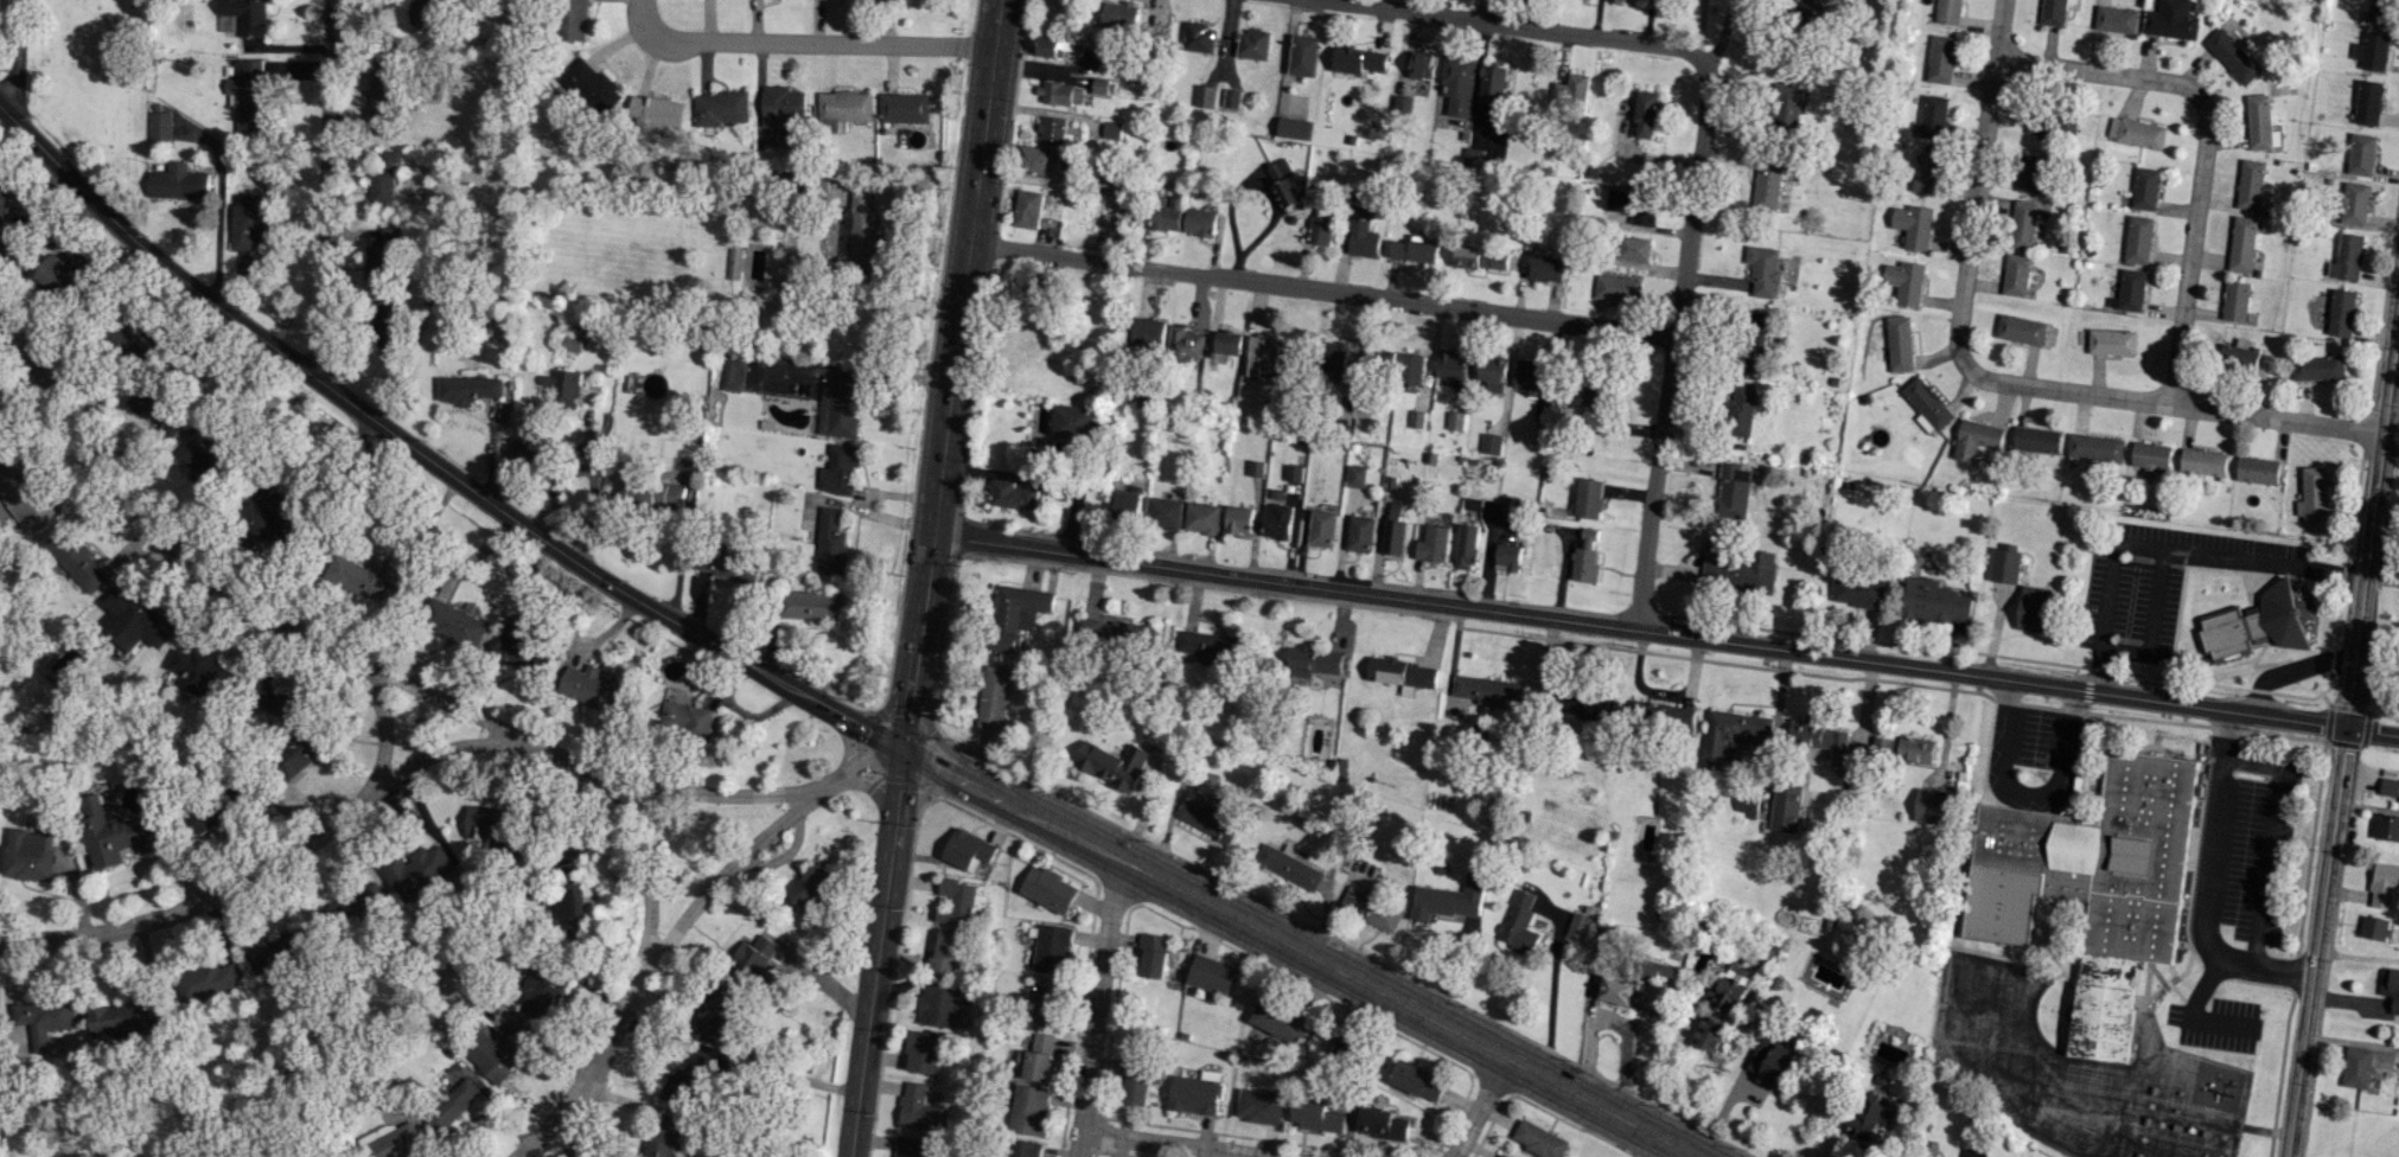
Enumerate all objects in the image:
building: (1618, 0)
building: (1946, 11)
building: (2381, 11)
building: (425, 12)
building: (2052, 12)
building: (1810, 13)
building: (1118, 14)
building: (245, 15)
building: (2114, 19)
building: (574, 20)
building: (2170, 24)
building: (1187, 36)
road: (804, 41)
building: (1253, 44)
building: (1053, 45)
building: (2373, 51)
building: (1302, 55)
building: (2232, 56)
road: (14, 57)
building: (1939, 58)
building: (1357, 59)
building: (1421, 65)
road: (2099, 72)
park: (81, 83)
building: (1459, 83)
building: (1492, 84)
building: (591, 87)
building: (1103, 87)
building: (381, 89)
building: (1572, 90)
building: (245, 92)
building: (1060, 92)
building: (1205, 96)
building: (1231, 100)
building: (2371, 102)
building: (1402, 104)
building: (844, 107)
building: (1786, 107)
building: (719, 108)
building: (904, 108)
building: (780, 111)
building: (653, 113)
building: (1646, 114)
building: (1932, 116)
building: (2049, 122)
building: (159, 126)
building: (1294, 128)
building: (1111, 129)
building: (1051, 130)
building: (2135, 133)
road: (1698, 148)
building: (2362, 154)
building: (1035, 160)
building: (1923, 173)
building: (2030, 173)
building: (382, 179)
building: (177, 183)
building: (1767, 184)
building: (2252, 184)
building: (1283, 185)
road: (1977, 185)
road: (323, 188)
building: (2145, 188)
building: (2, 197)
building: (2356, 203)
building: (1633, 205)
building: (1027, 209)
building: (1166, 213)
building: (249, 220)
building: (1188, 220)
building: (2023, 224)
building: (1912, 225)
building: (1321, 228)
building: (860, 236)
building: (1361, 238)
building: (2138, 238)
building: (2244, 243)
building: (7, 245)
building: (1635, 249)
building: (1414, 250)
road: (2191, 250)
building: (1467, 256)
building: (381, 257)
building: (2347, 257)
building: (1493, 260)
building: (753, 268)
building: (1546, 268)
building: (1762, 269)
building: (2016, 275)
building: (58, 276)
building: (1904, 282)
building: (1616, 288)
road: (1322, 289)
building: (2130, 290)
building: (2235, 301)
building: (2341, 312)
building: (388, 325)
building: (2022, 330)
building: (146, 331)
building: (1148, 332)
building: (1180, 341)
building: (1227, 341)
building: (2112, 341)
building: (1754, 343)
building: (1900, 343)
road: (955, 345)
building: (2244, 354)
building: (1262, 356)
building: (1335, 356)
building: (1379, 362)
building: (2318, 365)
building: (1453, 366)
building: (1415, 369)
building: (732, 372)
building: (1491, 372)
building: (1530, 376)
building: (468, 389)
building: (564, 389)
building: (1595, 398)
road: (2174, 403)
building: (1926, 405)
building: (838, 407)
building: (157, 409)
building: (1740, 410)
building: (1416, 418)
building: (1455, 420)
building: (1079, 423)
road: (40, 428)
road: (394, 434)
building: (1976, 440)
building: (2035, 440)
building: (1491, 443)
building: (2093, 448)
building: (528, 452)
building: (2149, 456)
building: (2201, 462)
building: (202, 465)
building: (1256, 468)
building: (838, 469)
building: (2257, 469)
building: (1355, 475)
building: (1294, 479)
building: (1390, 482)
building: (1733, 491)
building: (25, 494)
building: (655, 494)
building: (2312, 494)
building: (1010, 496)
building: (1588, 498)
road: (591, 501)
building: (1125, 505)
building: (1508, 505)
building: (1163, 513)
building: (1201, 518)
building: (1238, 519)
building: (1277, 522)
building: (1322, 528)
building: (1395, 530)
building: (1360, 533)
building: (1588, 537)
building: (830, 542)
building: (1433, 544)
building: (1466, 545)
road: (2167, 549)
building: (1508, 556)
building: (77, 558)
road: (681, 560)
building: (722, 563)
building: (1584, 564)
building: (1738, 565)
building: (2005, 565)
building: (1858, 592)
building: (1934, 601)
building: (816, 605)
building: (2033, 608)
building: (1016, 615)
building: (136, 621)
building: (454, 624)
road: (2149, 624)
building: (2254, 627)
building: (1122, 631)
road: (1665, 634)
building: (1185, 637)
building: (517, 650)
road: (350, 652)
building: (1314, 661)
road: (2288, 667)
building: (198, 672)
building: (1402, 673)
building: (591, 689)
building: (1486, 691)
building: (994, 697)
building: (1587, 705)
road: (886, 709)
building: (283, 711)
road: (844, 715)
building: (685, 718)
road: (907, 718)
road: (381, 720)
road: (1864, 721)
building: (1729, 733)
road: (2344, 733)
road: (881, 735)
building: (1818, 736)
road: (934, 739)
road: (844, 743)
traffic signals: (904, 747)
building: (1884, 747)
building: (1915, 749)
building: (300, 753)
road: (869, 762)
road: (937, 763)
building: (1115, 766)
road: (899, 781)
road: (824, 786)
building: (2388, 786)
road: (870, 788)
road: (927, 791)
road: (2024, 793)
building: (1747, 804)
building: (1786, 806)
building: (1935, 806)
building: (1185, 810)
building: (206, 817)
road: (2273, 820)
building: (491, 825)
building: (2387, 827)
building: (113, 832)
building: (968, 850)
building: (27, 855)
road: (275, 863)
building: (1287, 865)
building: (419, 871)
road: (644, 871)
road: (2208, 876)
building: (2384, 884)
building: (810, 886)
building: (1048, 889)
building: (572, 897)
building: (1449, 899)
building: (956, 902)
building: (353, 908)
building: (1371, 909)
building: (1519, 923)
building: (1578, 927)
building: (2374, 928)
building: (279, 948)
building: (1052, 948)
road: (653, 951)
building: (943, 954)
building: (1154, 955)
building: (1699, 960)
building: (753, 961)
road: (1332, 969)
road: (2288, 969)
building: (1659, 971)
building: (1211, 973)
building: (209, 980)
road: (870, 986)
building: (1733, 987)
building: (1618, 990)
building: (541, 992)
building: (2393, 992)
building: (1044, 1004)
building: (940, 1006)
road: (1098, 1009)
building: (712, 1015)
road: (1549, 1017)
building: (125, 1018)
building: (45, 1019)
building: (1278, 1021)
road: (1588, 1033)
building: (1710, 1033)
building: (1348, 1044)
building: (496, 1051)
building: (923, 1051)
road: (1622, 1055)
building: (1036, 1057)
building: (1769, 1062)
building: (2362, 1066)
building: (682, 1080)
building: (1416, 1081)
building: (1134, 1086)
building: (1181, 1093)
building: (454, 1102)
building: (1259, 1106)
road: (1480, 1107)
building: (920, 1108)
building: (1029, 1110)
building: (1314, 1116)
building: (1871, 1116)
road: (553, 1119)
building: (1382, 1124)
road: (2220, 1124)
building: (662, 1136)
building: (1539, 1139)
building: (396, 1142)
road: (1176, 1144)
building: (912, 1148)
building: (1025, 1149)
building: (1501, 1156)

